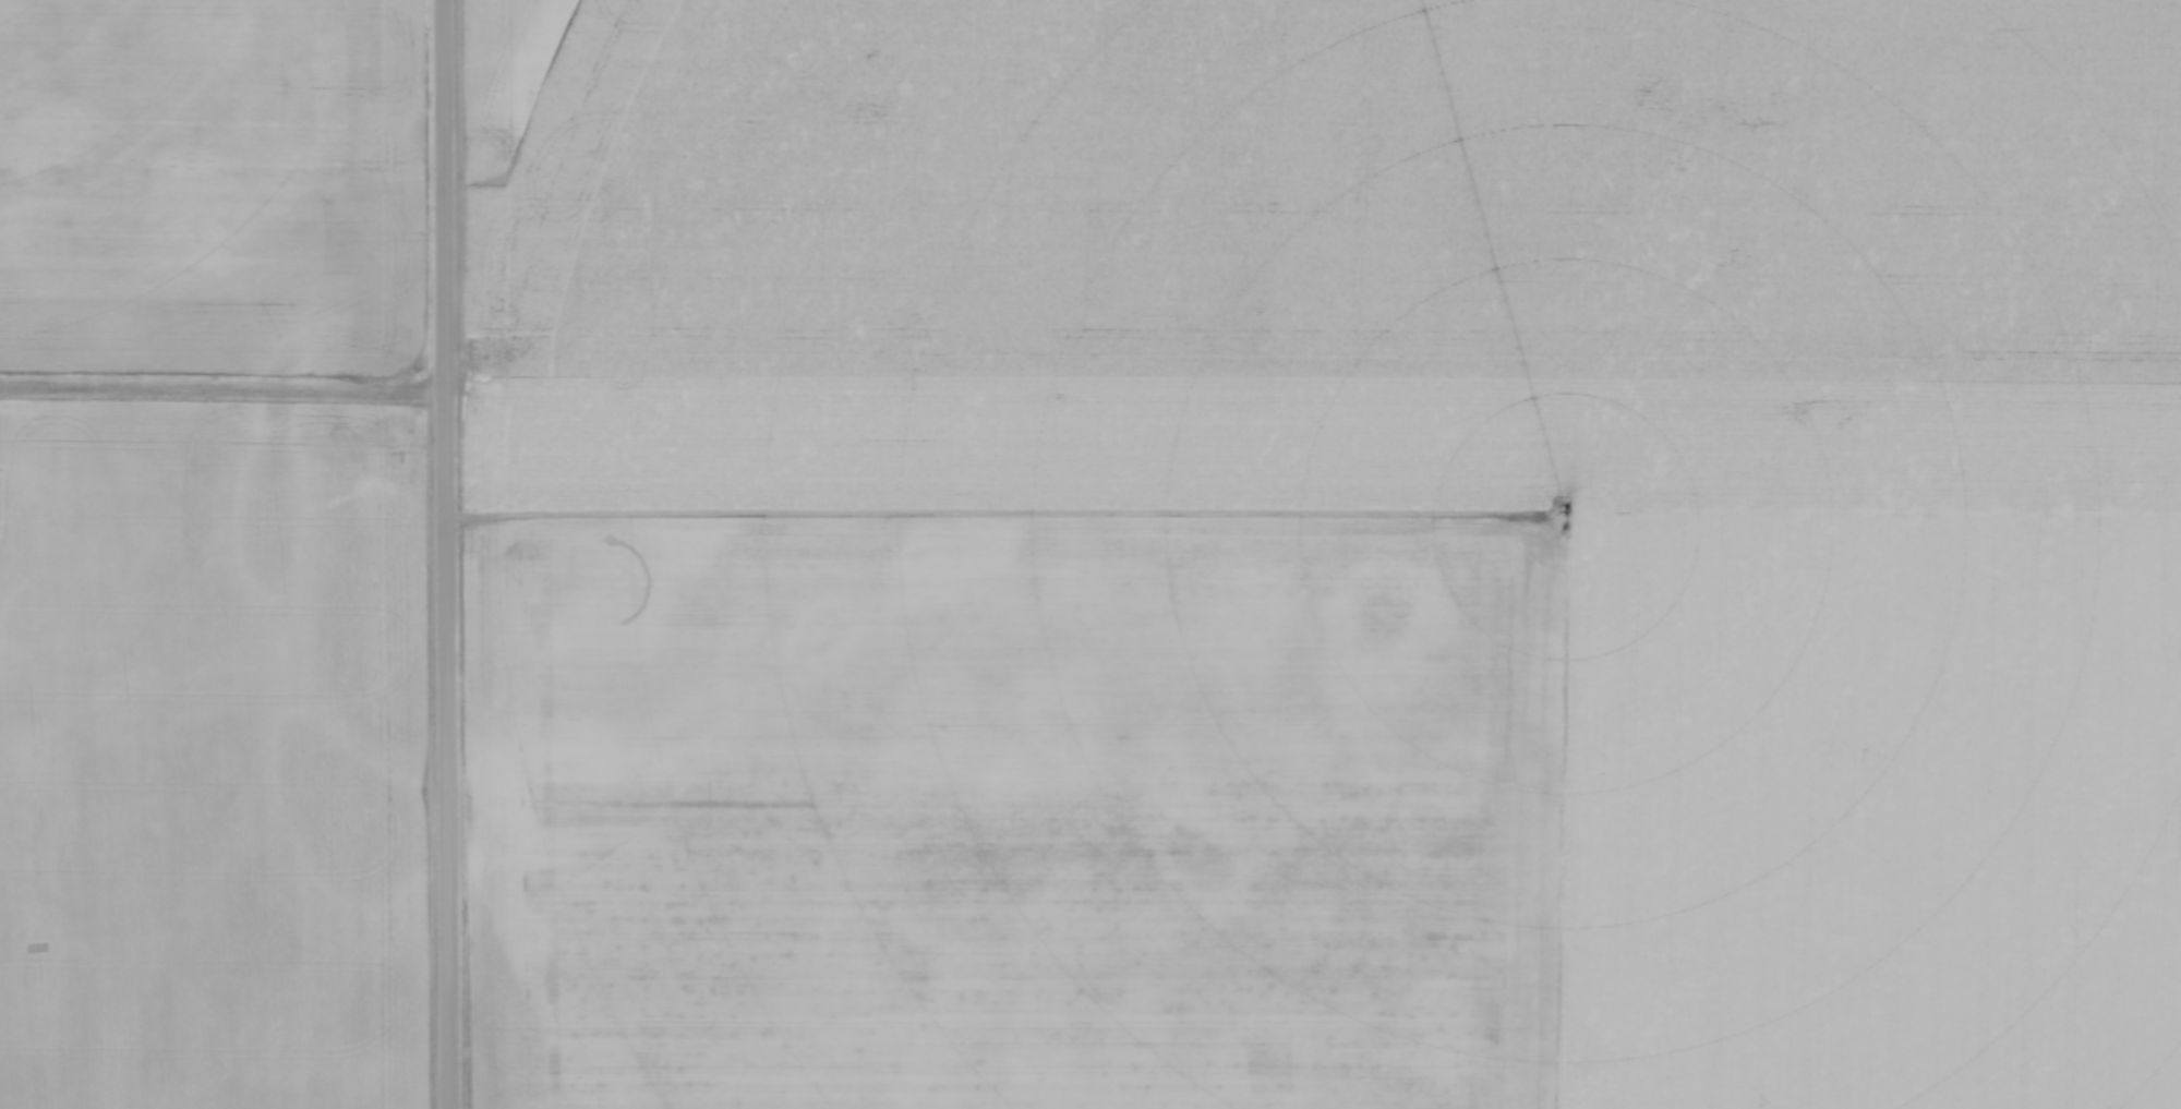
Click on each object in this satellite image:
road: (221, 398)
road: (445, 554)

